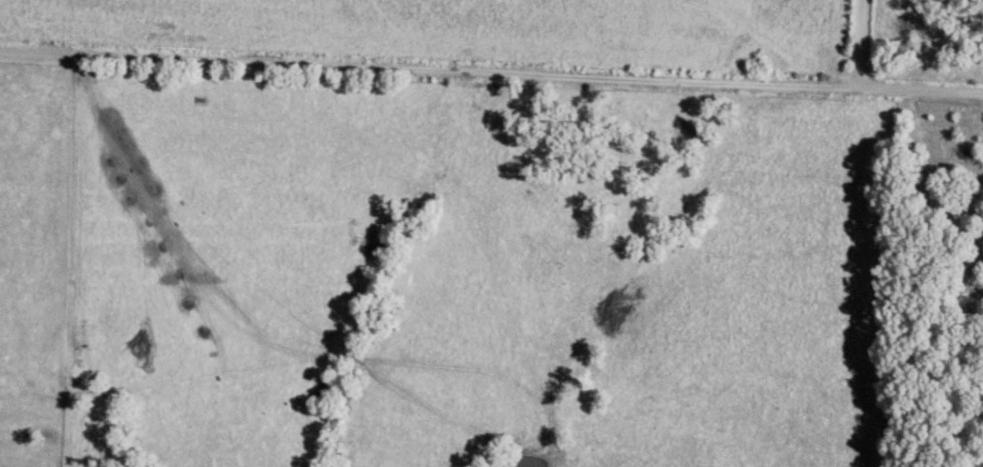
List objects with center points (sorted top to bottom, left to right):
road: (861, 43)
road: (491, 77)

